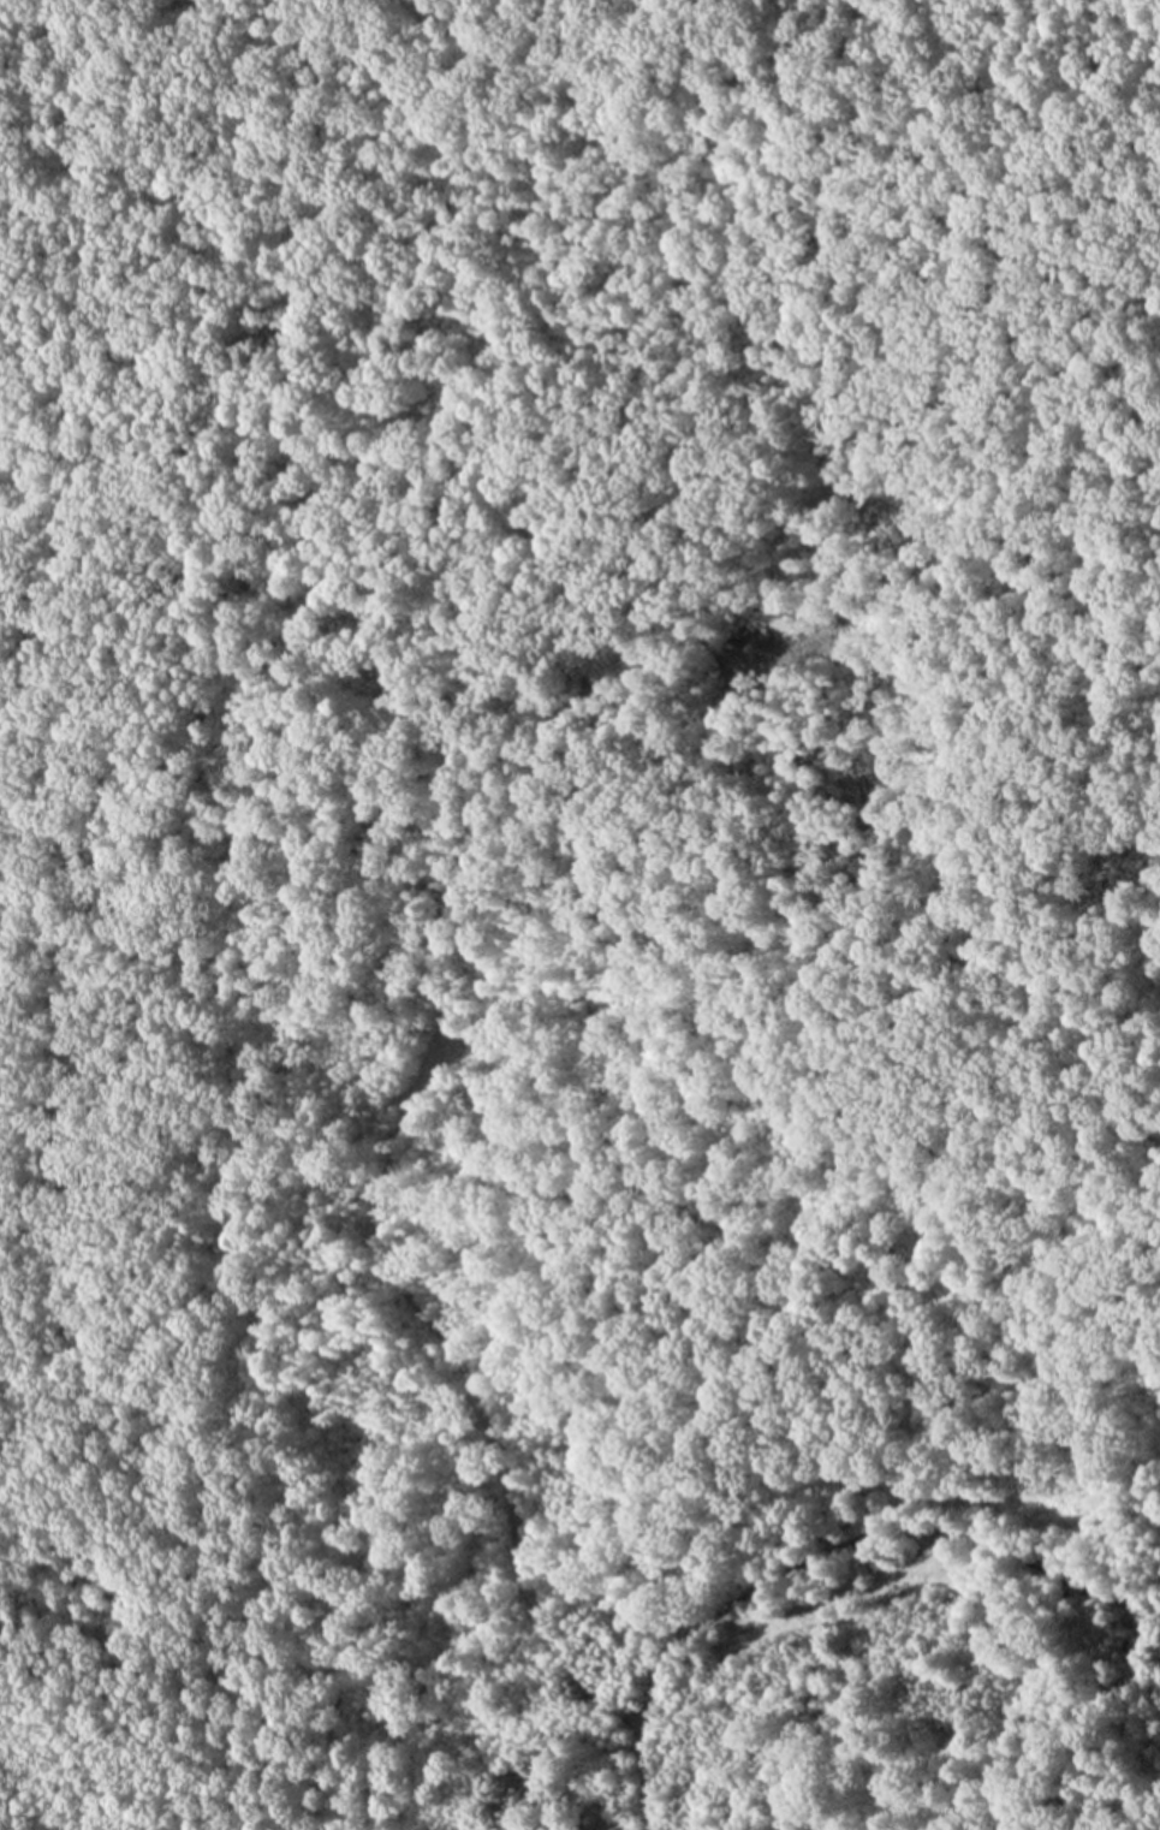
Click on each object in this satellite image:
road: (820, 1553)

